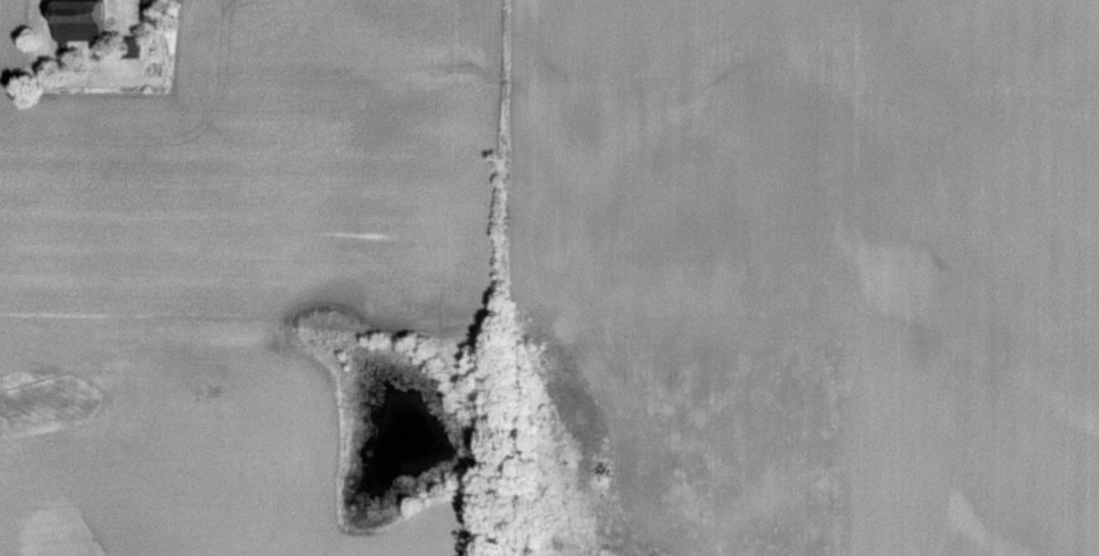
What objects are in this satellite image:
building: (70, 31)

